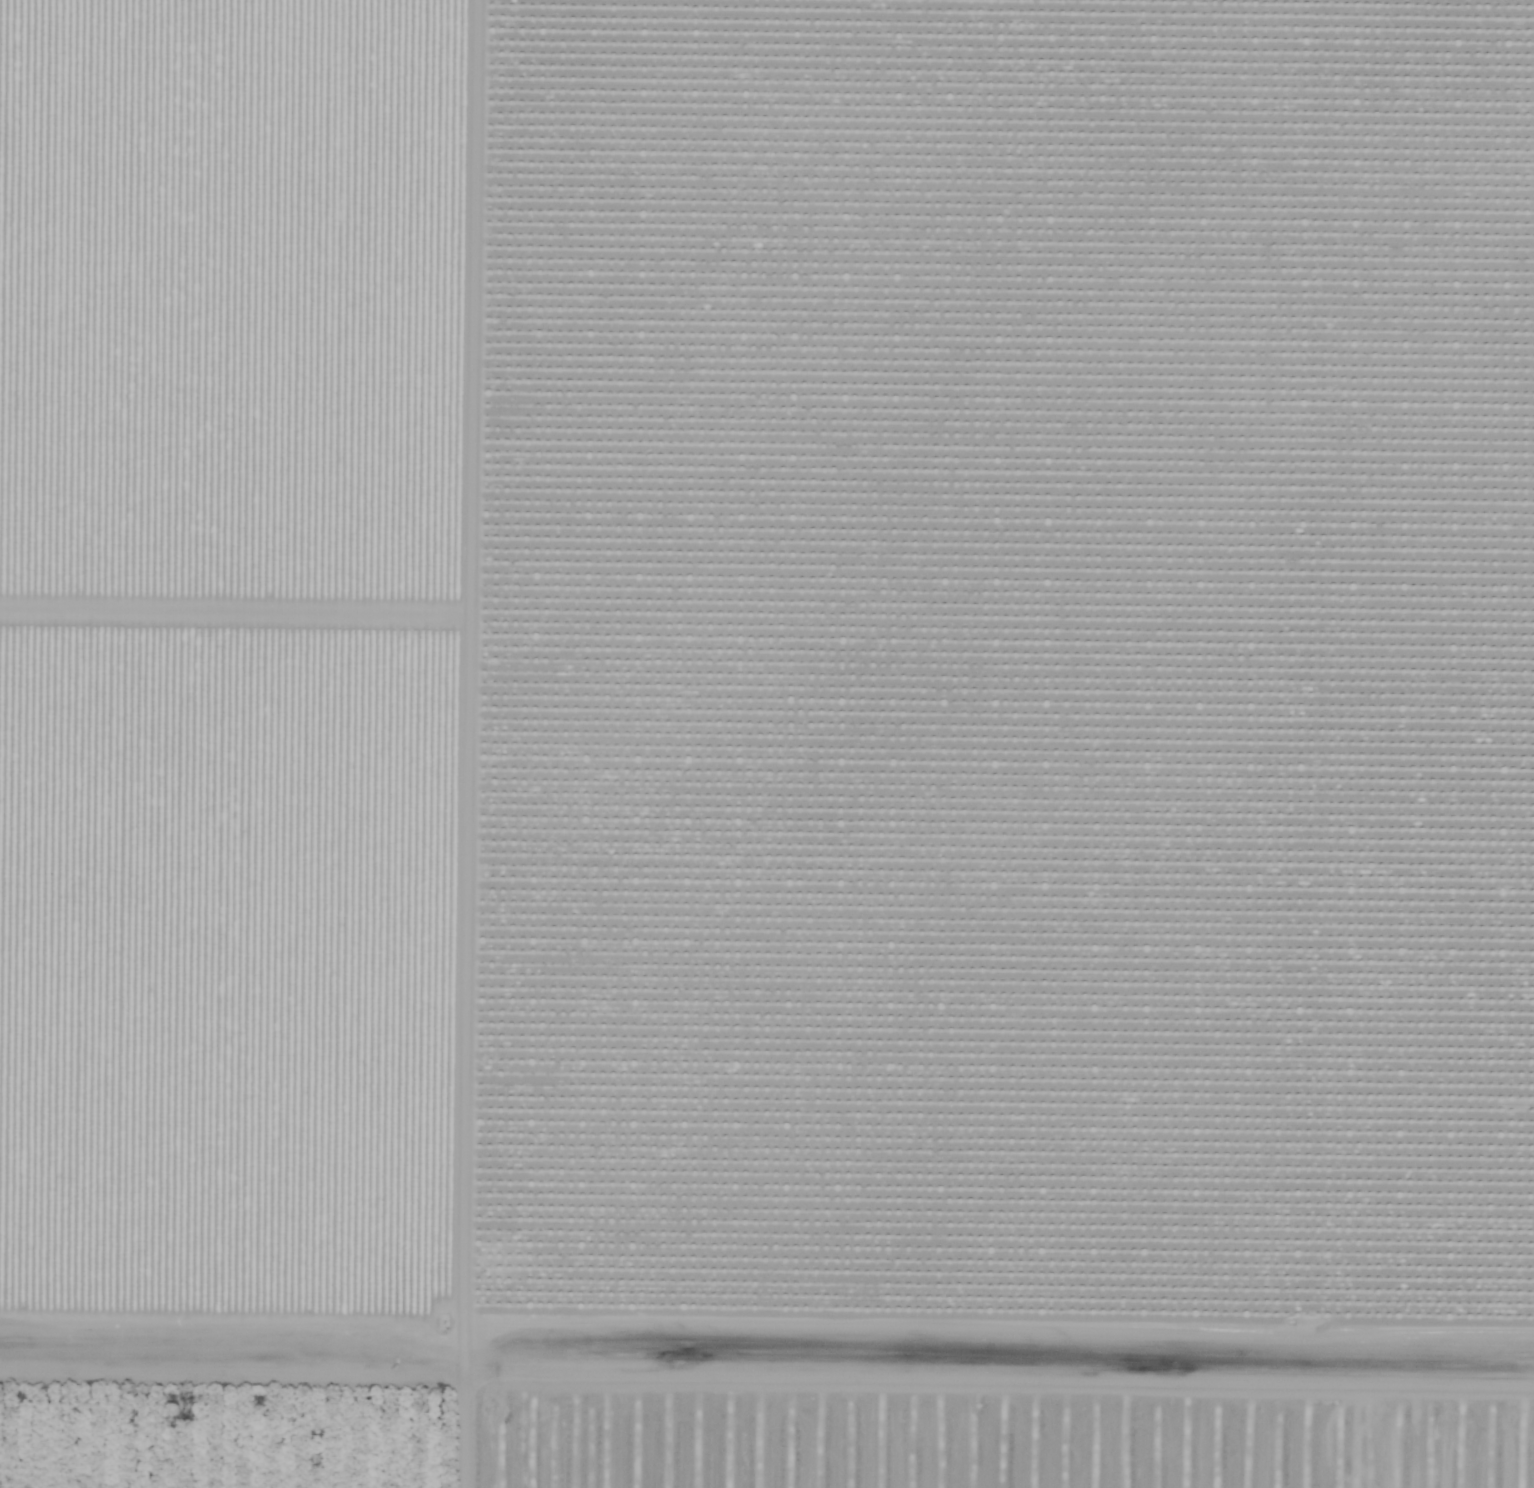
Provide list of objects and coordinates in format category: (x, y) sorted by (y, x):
crop: (256, 212)
crop: (1024, 637)
road: (517, 744)
crop: (256, 844)
crop: (257, 1373)

